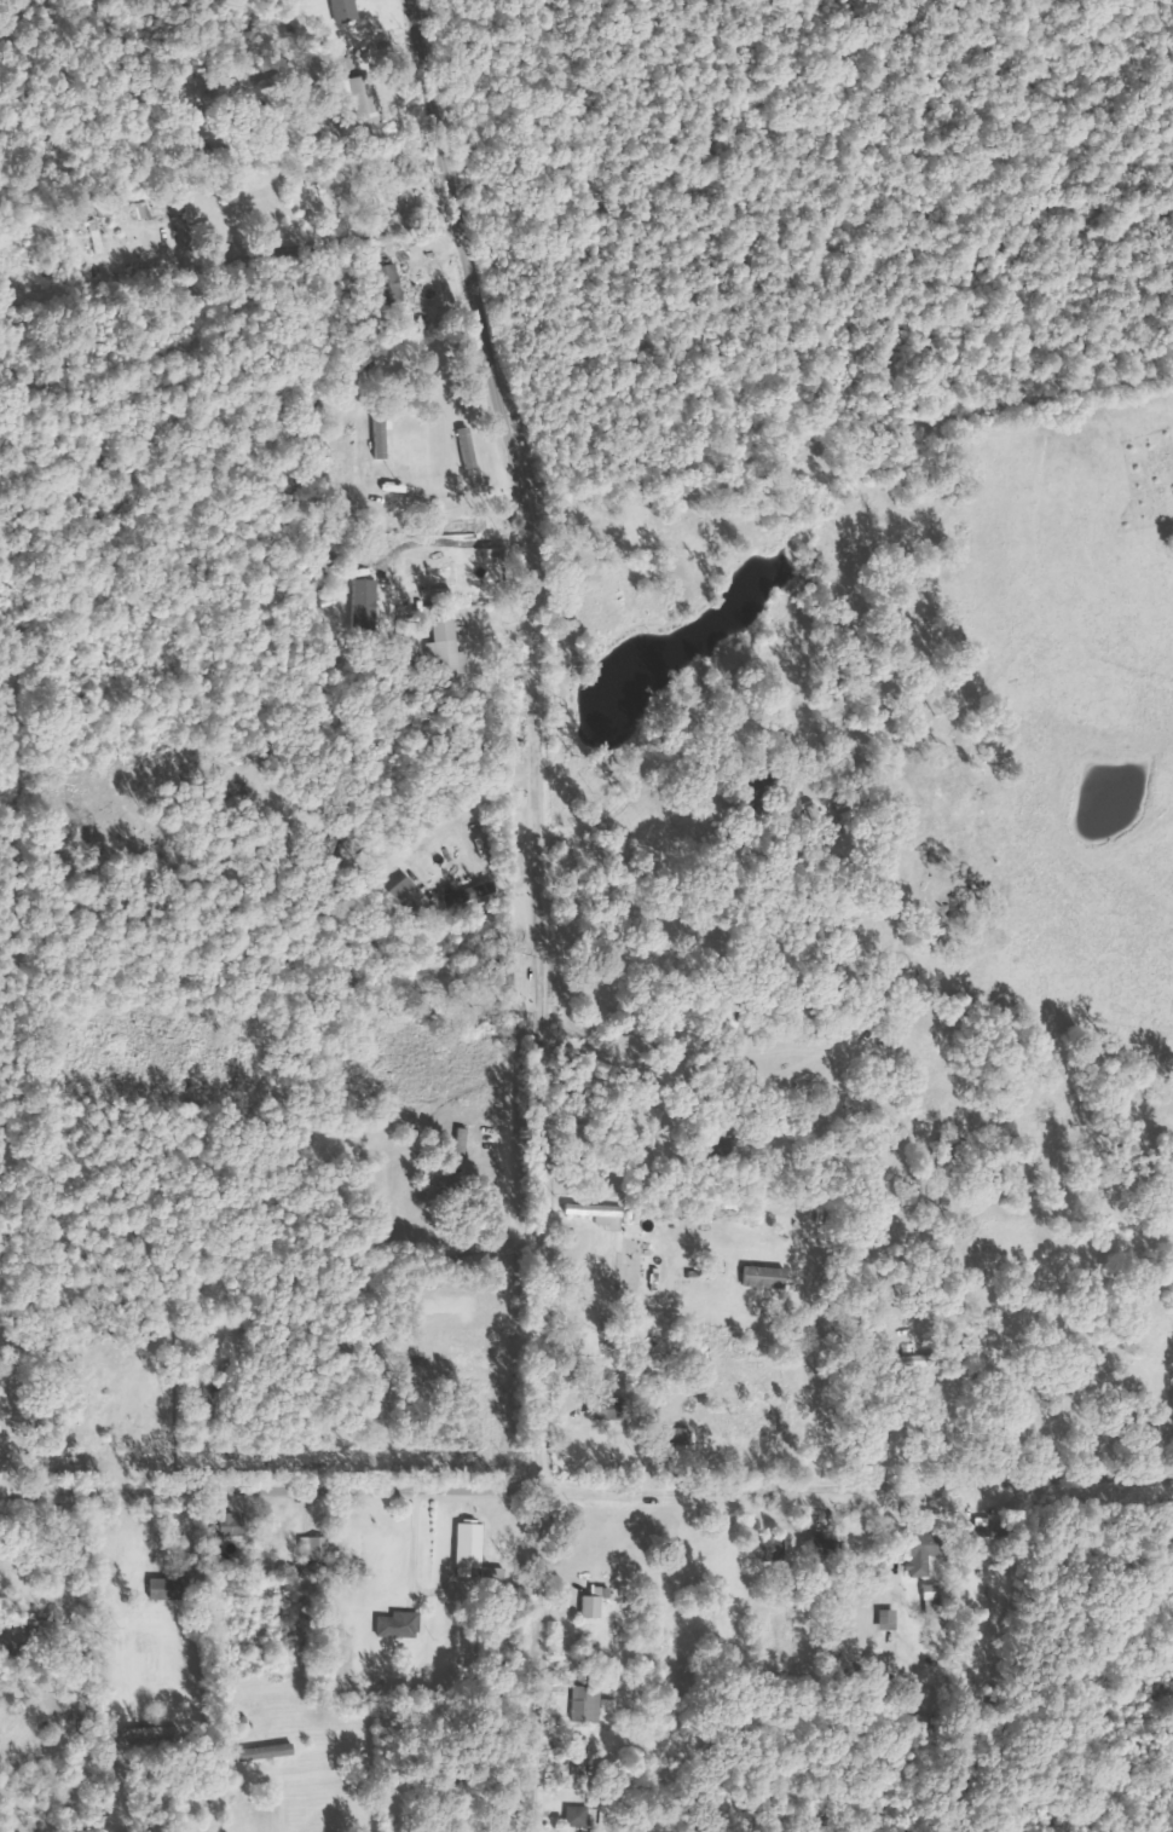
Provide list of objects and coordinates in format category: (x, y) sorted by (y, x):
building: (347, 10)
building: (368, 99)
building: (148, 210)
building: (394, 284)
building: (369, 605)
building: (451, 653)
building: (481, 891)
building: (415, 896)
road: (536, 909)
building: (727, 1149)
building: (603, 1214)
building: (769, 1277)
road: (586, 1486)
building: (236, 1526)
building: (994, 1530)
building: (473, 1549)
building: (323, 1551)
building: (925, 1554)
building: (172, 1589)
building: (935, 1593)
building: (891, 1620)
building: (403, 1626)
building: (589, 1704)
building: (612, 1707)
building: (582, 1816)

